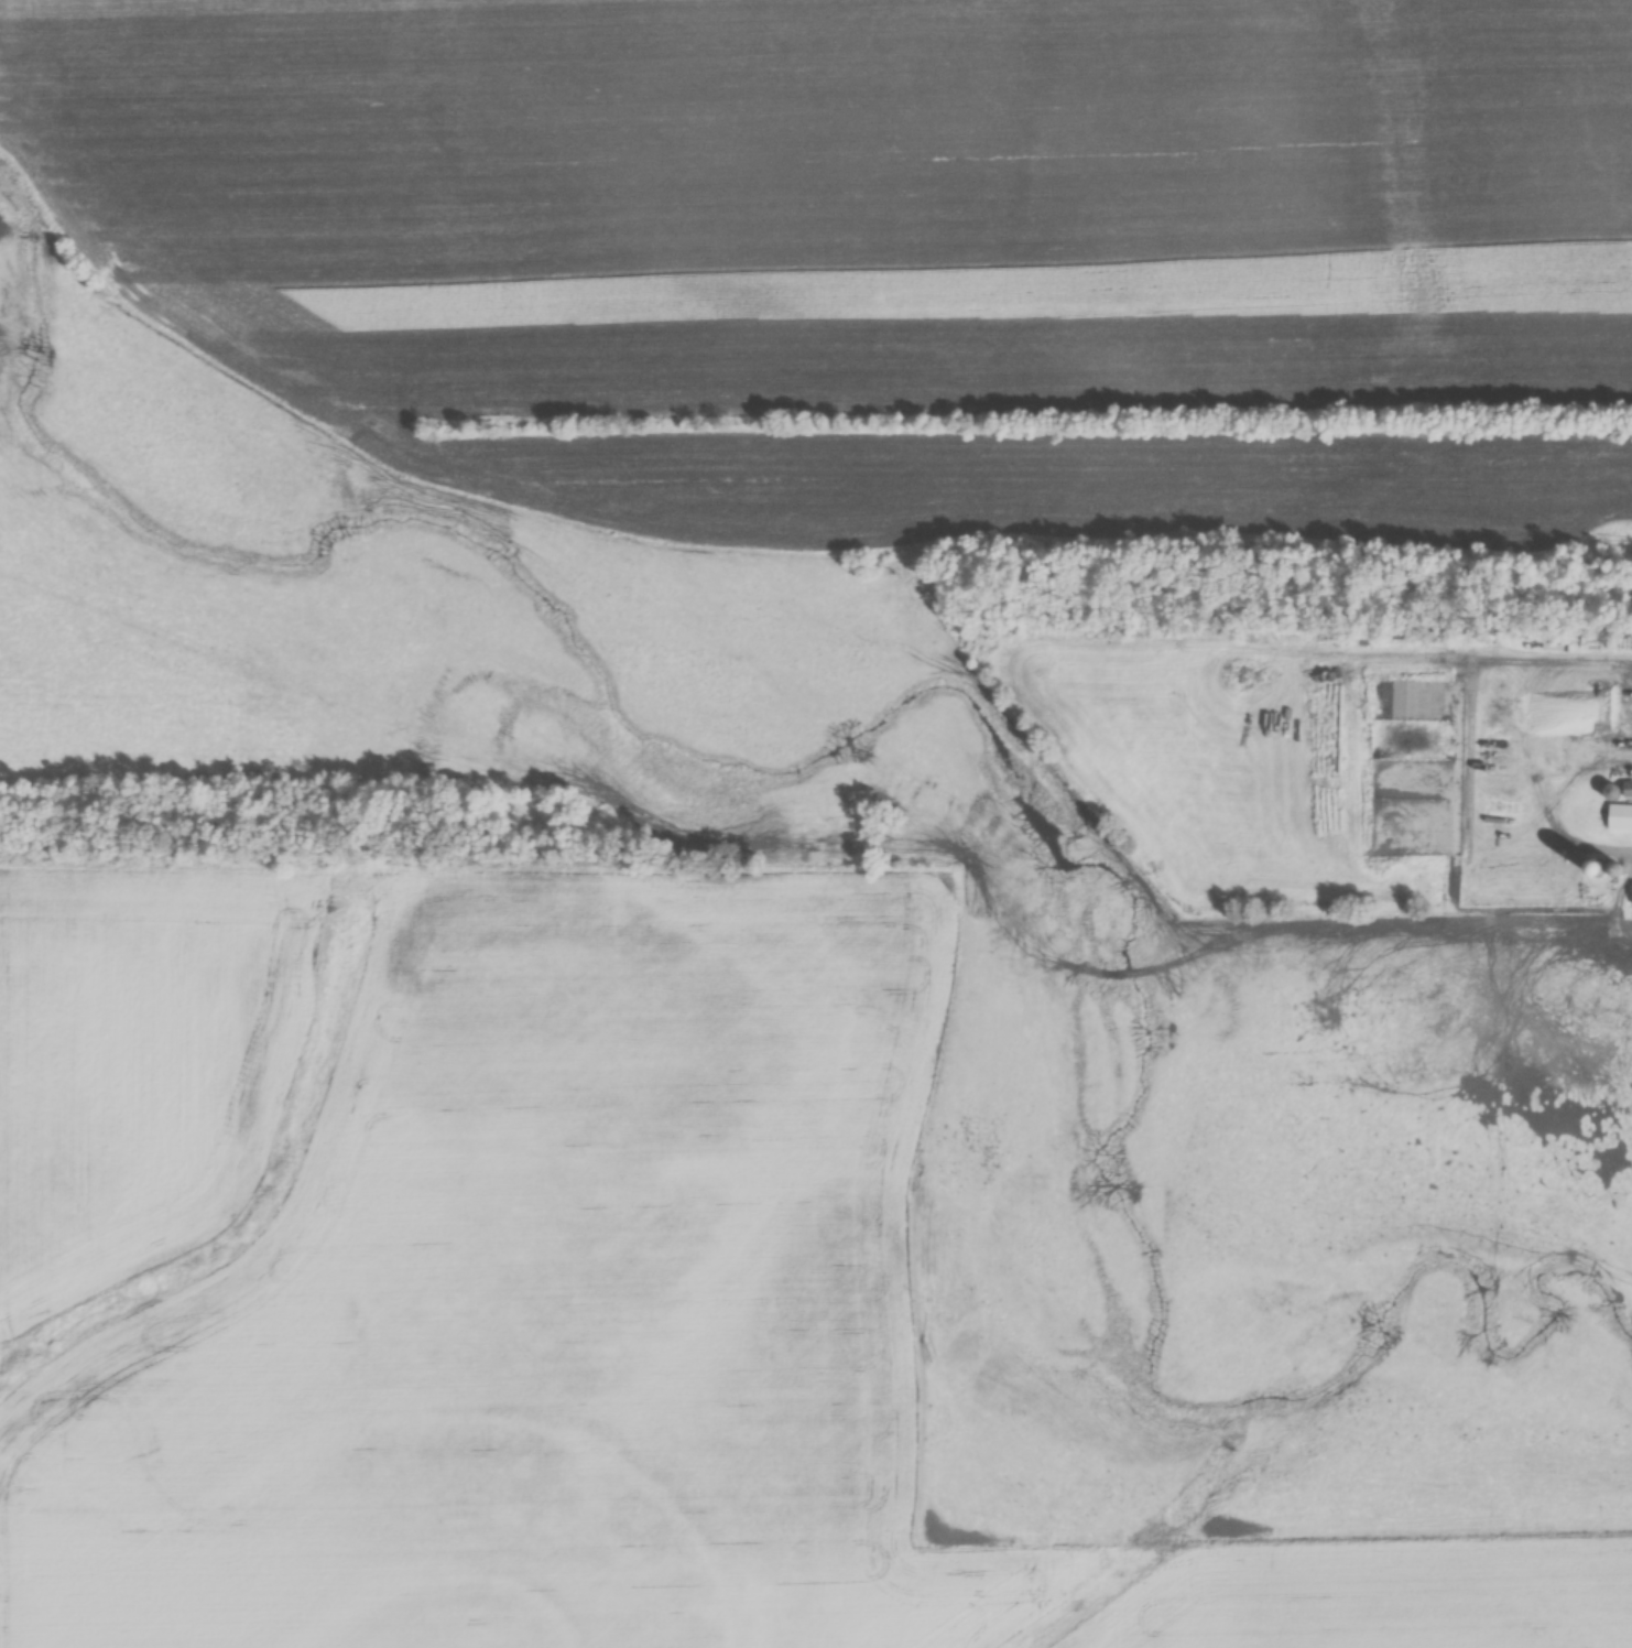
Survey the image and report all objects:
building: (1619, 820)
building: (1631, 895)

